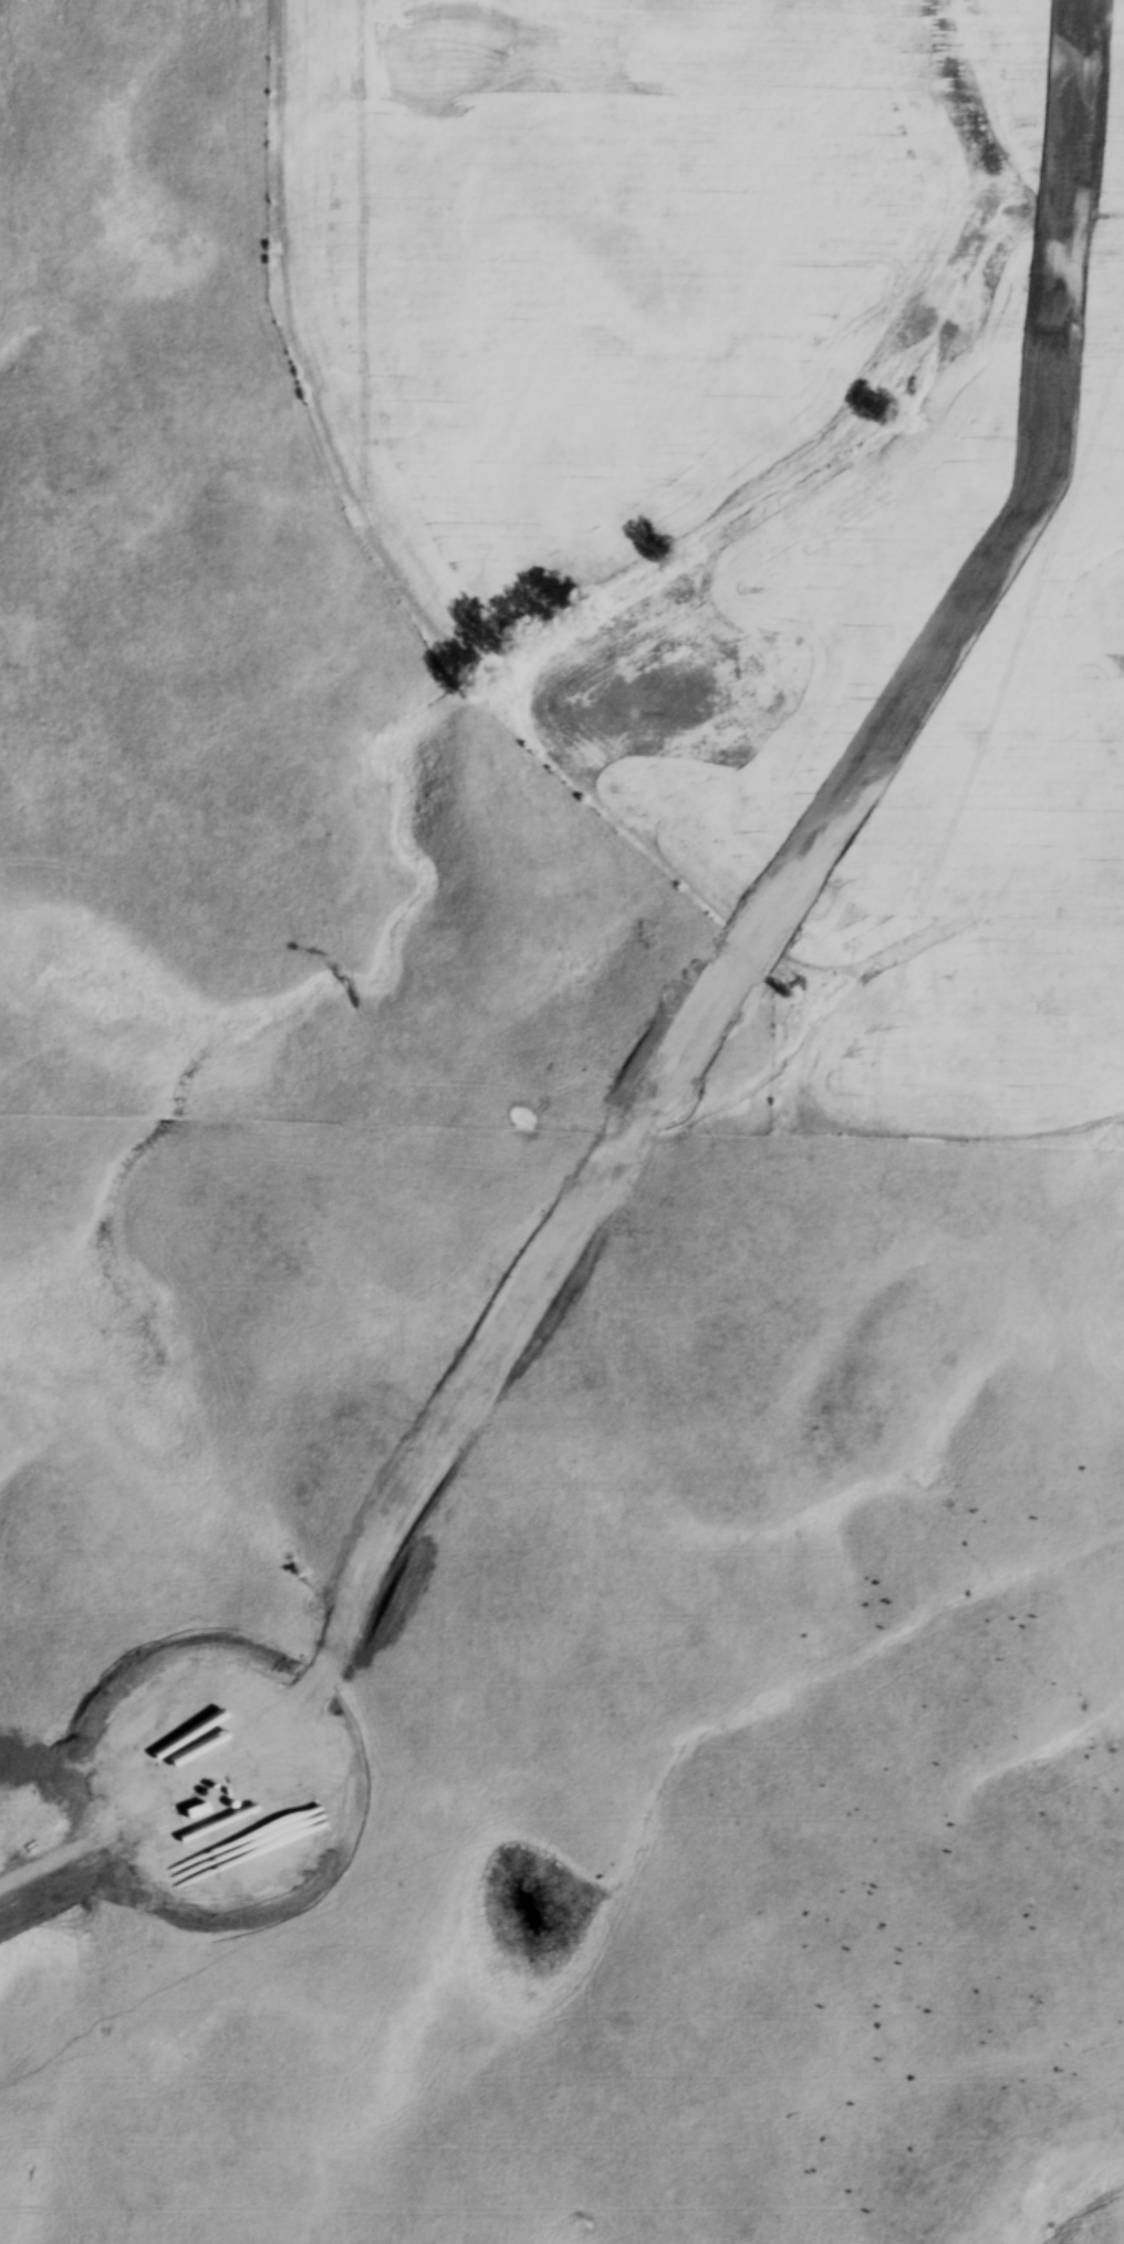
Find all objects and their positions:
wind turbine: (211, 1785)

